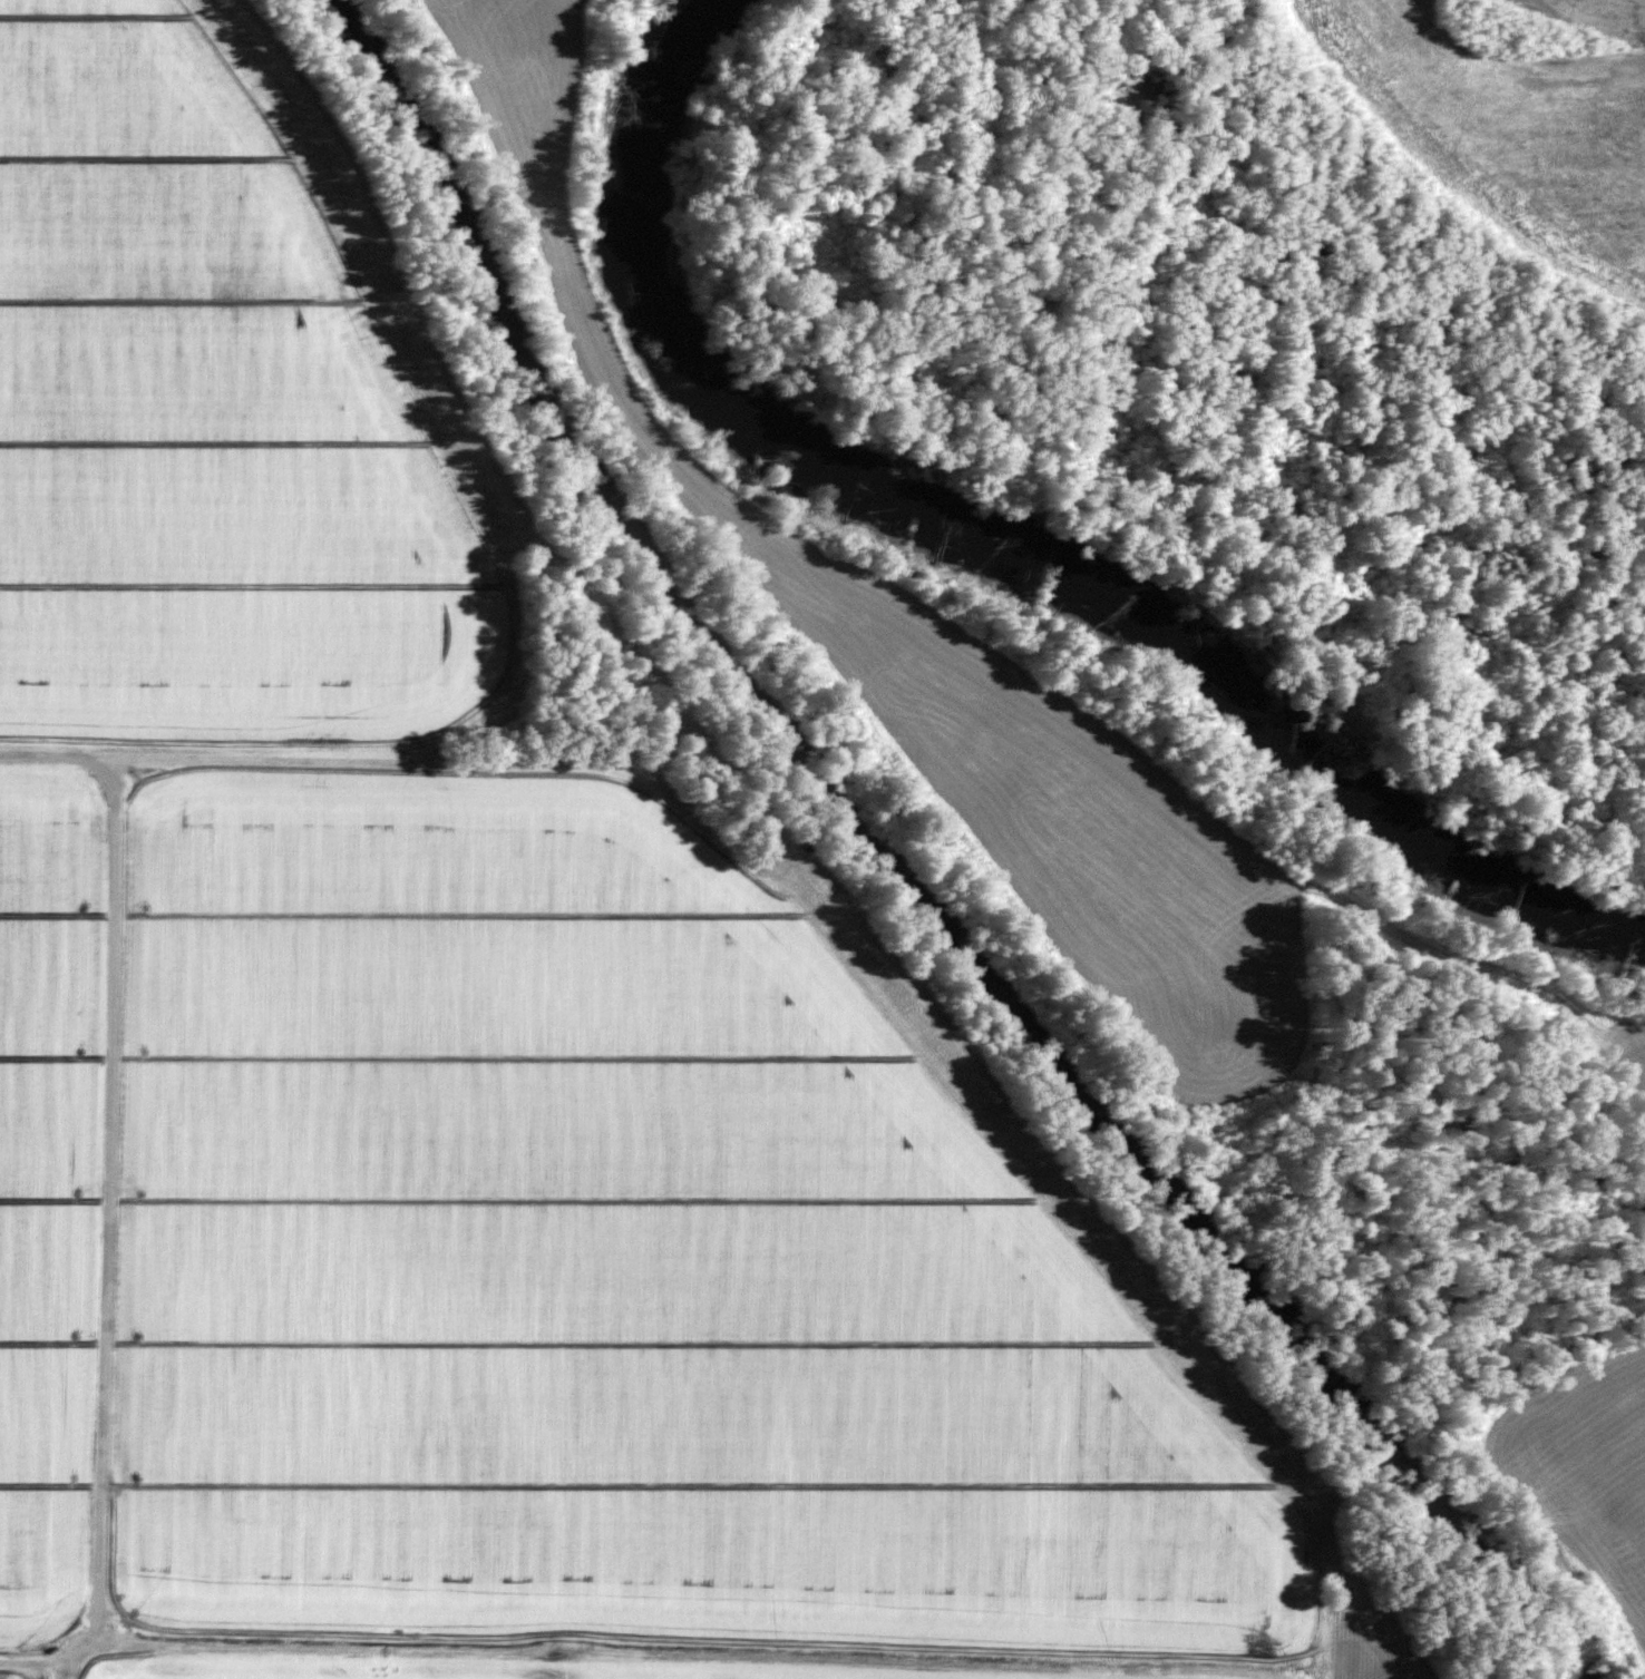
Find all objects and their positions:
river: (1008, 528)
road: (51, 759)
road: (912, 882)

